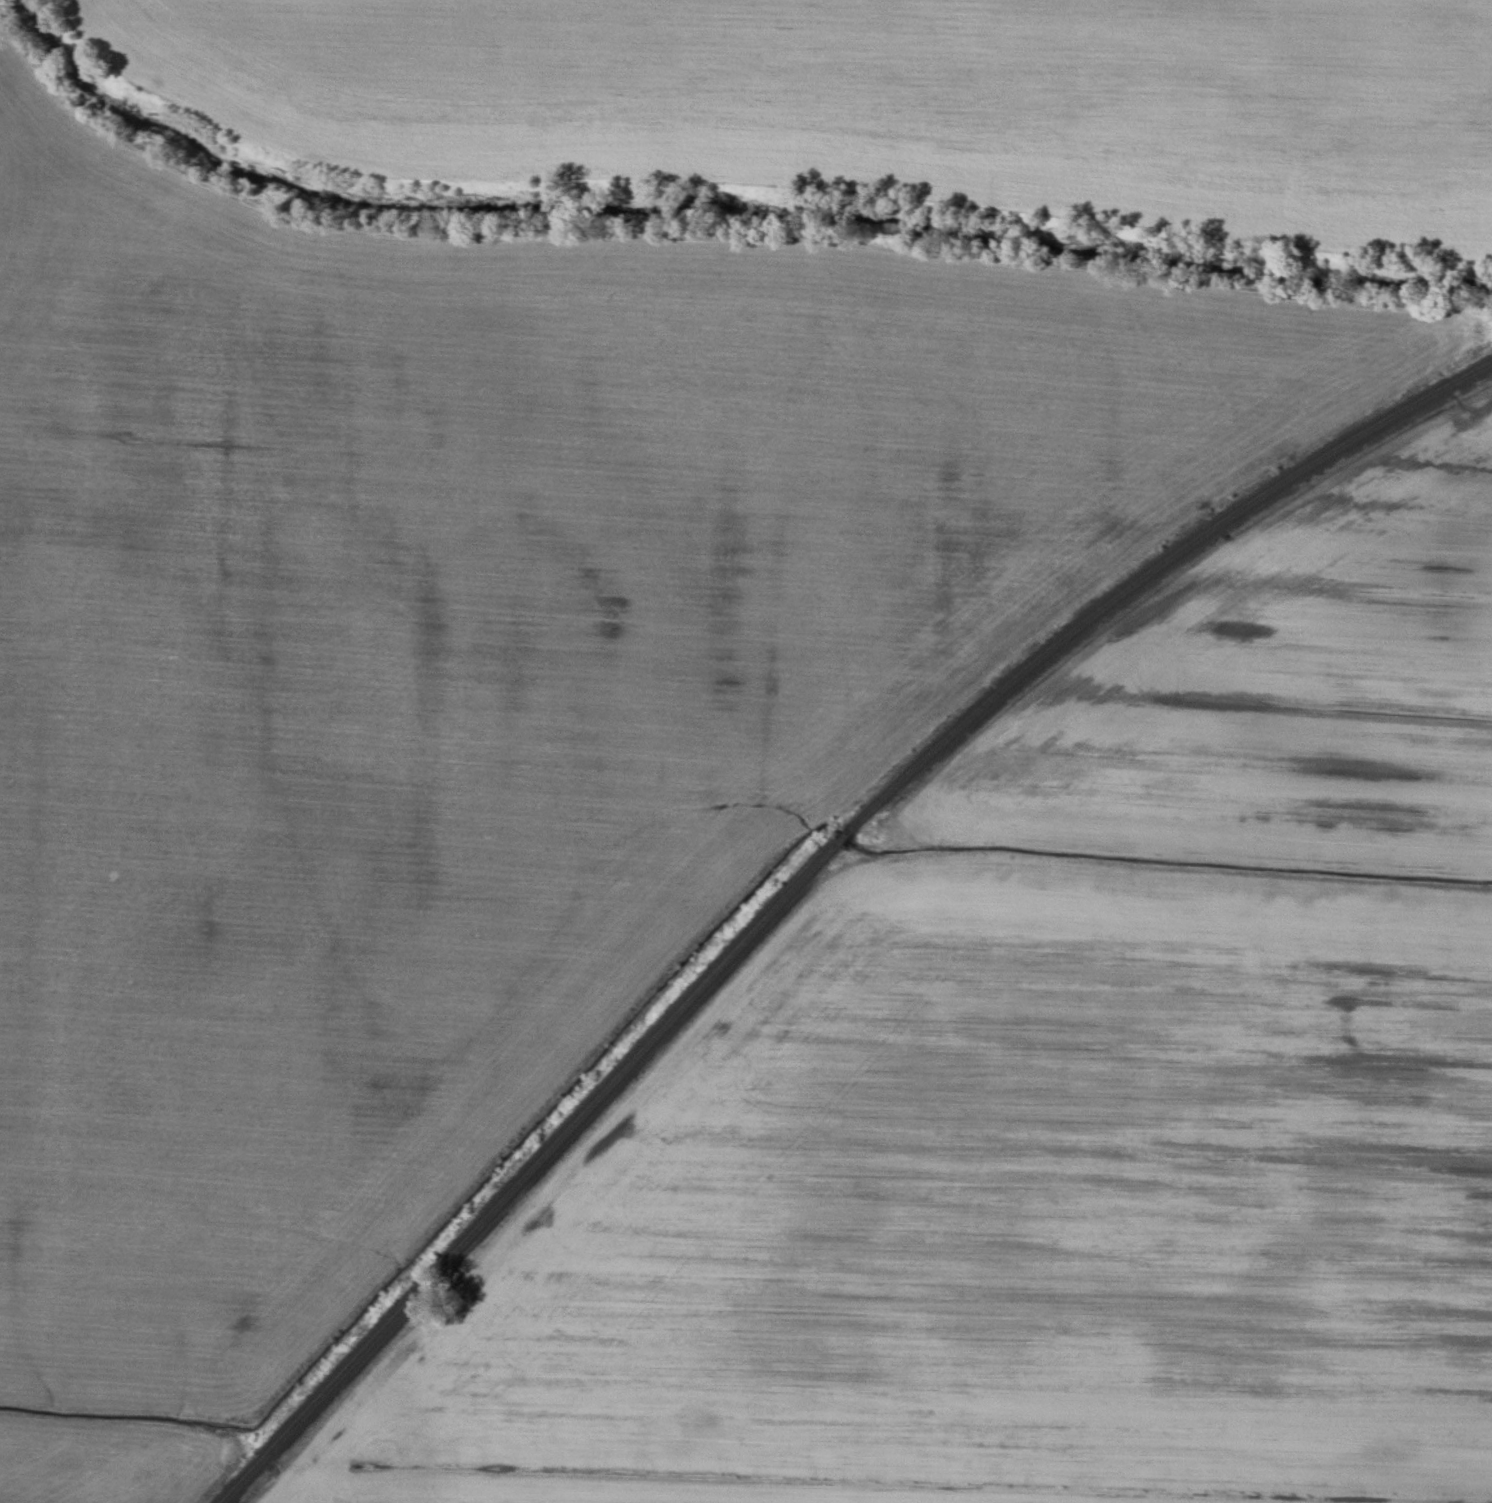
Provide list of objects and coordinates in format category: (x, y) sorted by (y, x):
crop: (877, 98)
crop: (481, 671)
railway: (803, 870)
crop: (1062, 1102)
crop: (106, 1465)

